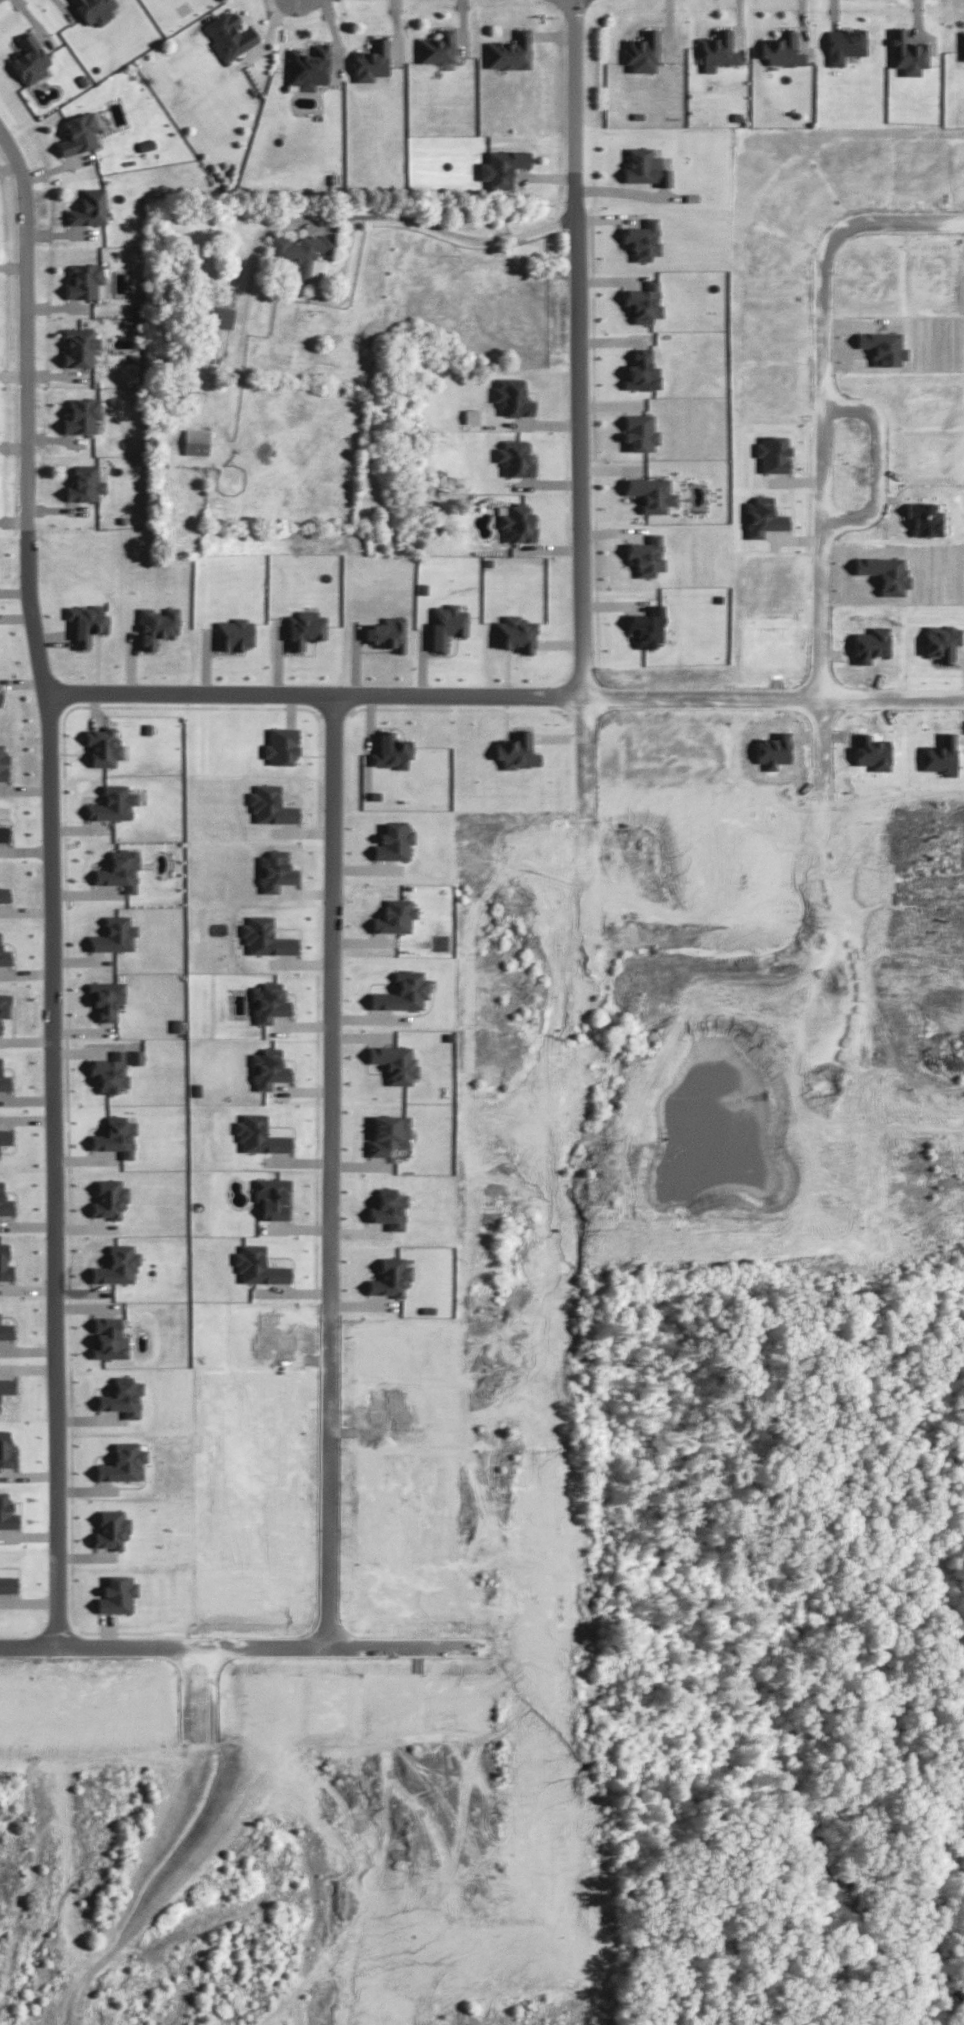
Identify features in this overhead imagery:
building: (94, 10)
building: (228, 35)
building: (843, 44)
building: (962, 45)
building: (436, 47)
building: (780, 49)
building: (715, 50)
building: (509, 51)
building: (641, 51)
building: (906, 53)
building: (28, 59)
building: (371, 60)
building: (307, 66)
building: (78, 133)
building: (501, 167)
building: (644, 167)
building: (88, 208)
road: (440, 228)
building: (642, 239)
building: (301, 254)
road: (251, 259)
building: (85, 281)
building: (642, 302)
building: (220, 316)
building: (216, 340)
building: (79, 346)
building: (881, 346)
building: (641, 371)
building: (512, 396)
road: (823, 397)
building: (81, 415)
building: (471, 415)
road: (578, 416)
building: (638, 432)
building: (195, 441)
building: (771, 452)
building: (515, 457)
road: (875, 462)
building: (84, 483)
building: (650, 493)
building: (760, 517)
building: (516, 522)
building: (645, 555)
building: (886, 572)
building: (87, 622)
building: (447, 624)
building: (158, 626)
building: (645, 626)
building: (305, 628)
building: (388, 633)
building: (515, 633)
building: (234, 634)
building: (943, 641)
building: (872, 644)
road: (314, 690)
road: (772, 697)
building: (0, 699)
building: (104, 745)
building: (281, 745)
building: (517, 750)
building: (392, 751)
building: (871, 751)
building: (939, 754)
building: (3, 764)
building: (114, 803)
building: (271, 805)
building: (4, 832)
building: (393, 841)
building: (121, 869)
building: (276, 870)
building: (4, 894)
building: (394, 916)
road: (52, 932)
building: (115, 934)
building: (266, 937)
building: (4, 956)
building: (403, 991)
building: (106, 997)
building: (270, 1002)
building: (5, 1005)
road: (332, 1025)
building: (0, 1030)
building: (137, 1056)
building: (394, 1062)
building: (269, 1068)
building: (111, 1071)
building: (4, 1081)
building: (388, 1133)
building: (259, 1135)
building: (5, 1136)
building: (116, 1136)
building: (273, 1197)
building: (109, 1198)
building: (5, 1203)
building: (389, 1208)
building: (5, 1263)
building: (118, 1265)
building: (259, 1266)
building: (391, 1277)
building: (6, 1330)
building: (108, 1337)
building: (7, 1385)
building: (123, 1397)
building: (5, 1450)
building: (123, 1462)
building: (6, 1513)
building: (112, 1529)
road: (331, 1574)
building: (7, 1584)
building: (117, 1594)
road: (92, 1643)
road: (404, 1645)

